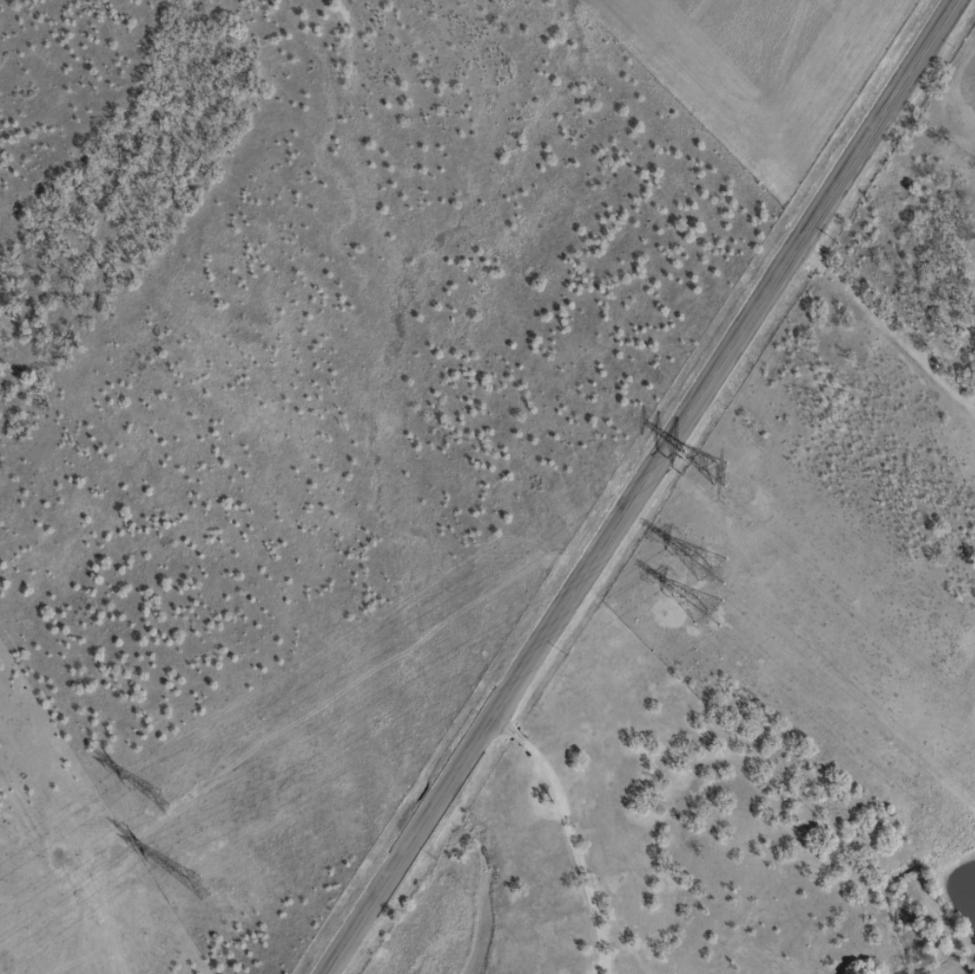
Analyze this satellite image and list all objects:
power tower: (717, 471)
road: (651, 487)
power tower: (704, 586)
power tower: (159, 797)
road: (599, 819)
power tower: (196, 884)
road: (39, 903)

